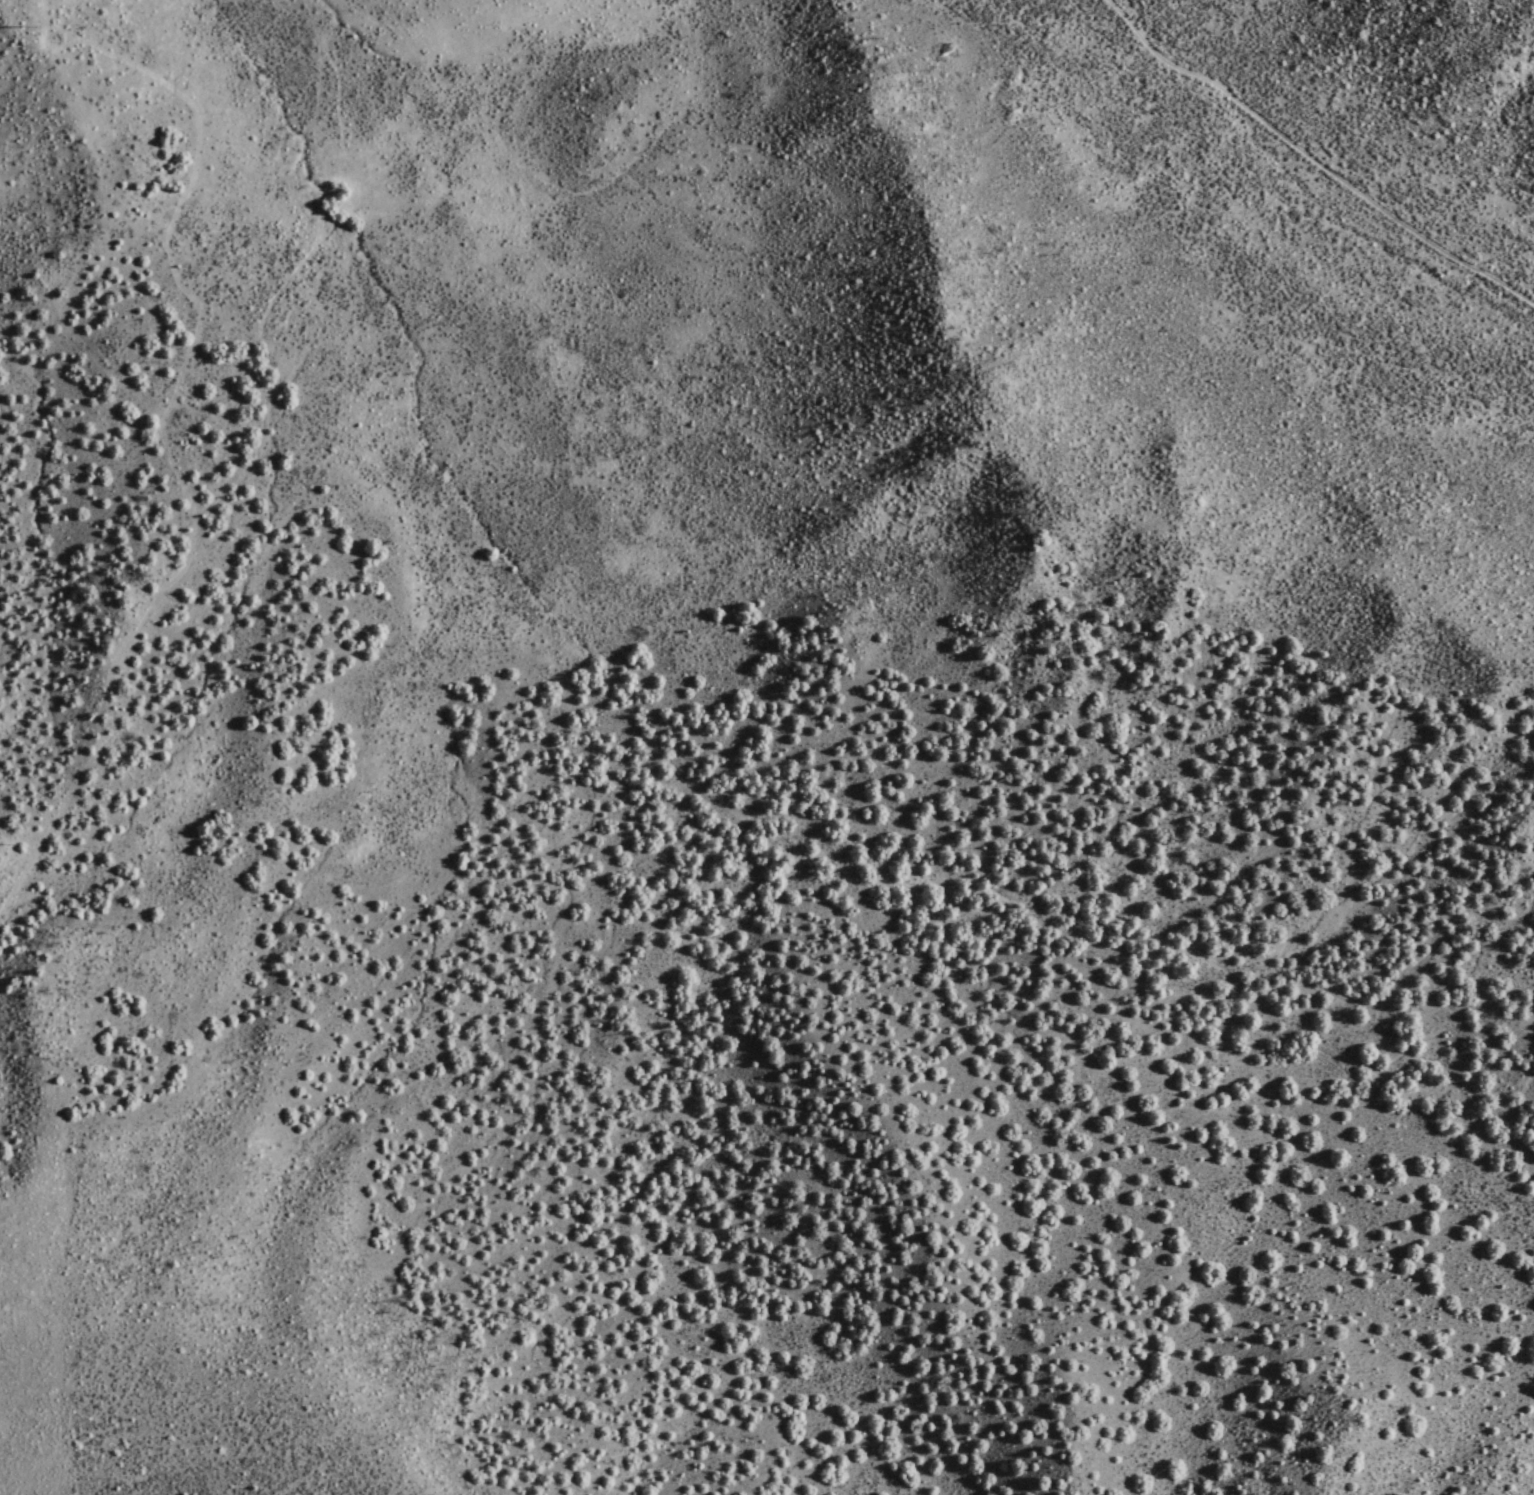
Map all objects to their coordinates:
power tower: (8, 30)
road: (1313, 160)
crop: (1253, 284)
crop: (477, 443)

